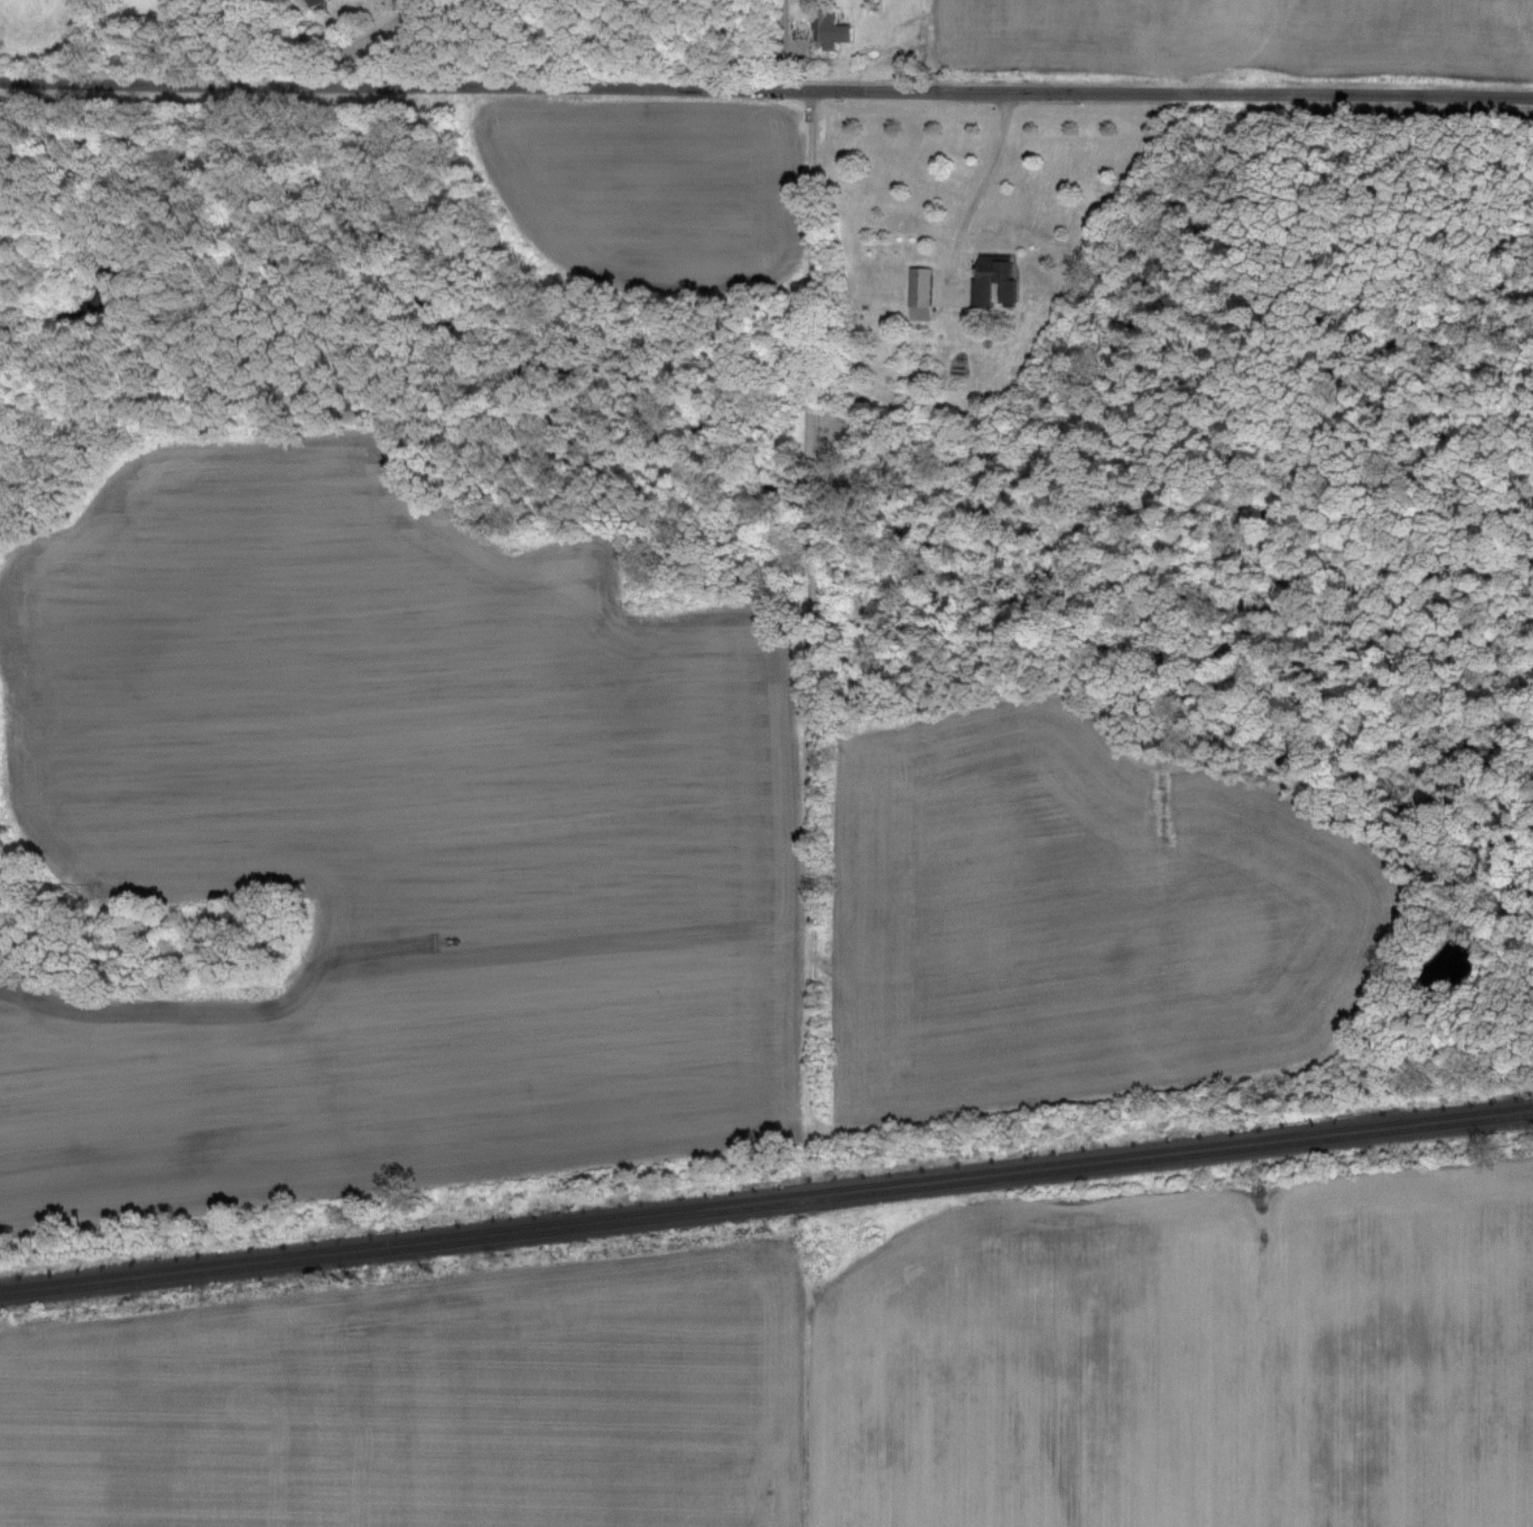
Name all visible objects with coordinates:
road: (778, 48)
road: (766, 95)
road: (980, 194)
building: (997, 271)
railway: (766, 1197)
railway: (766, 1206)
road: (807, 1396)

